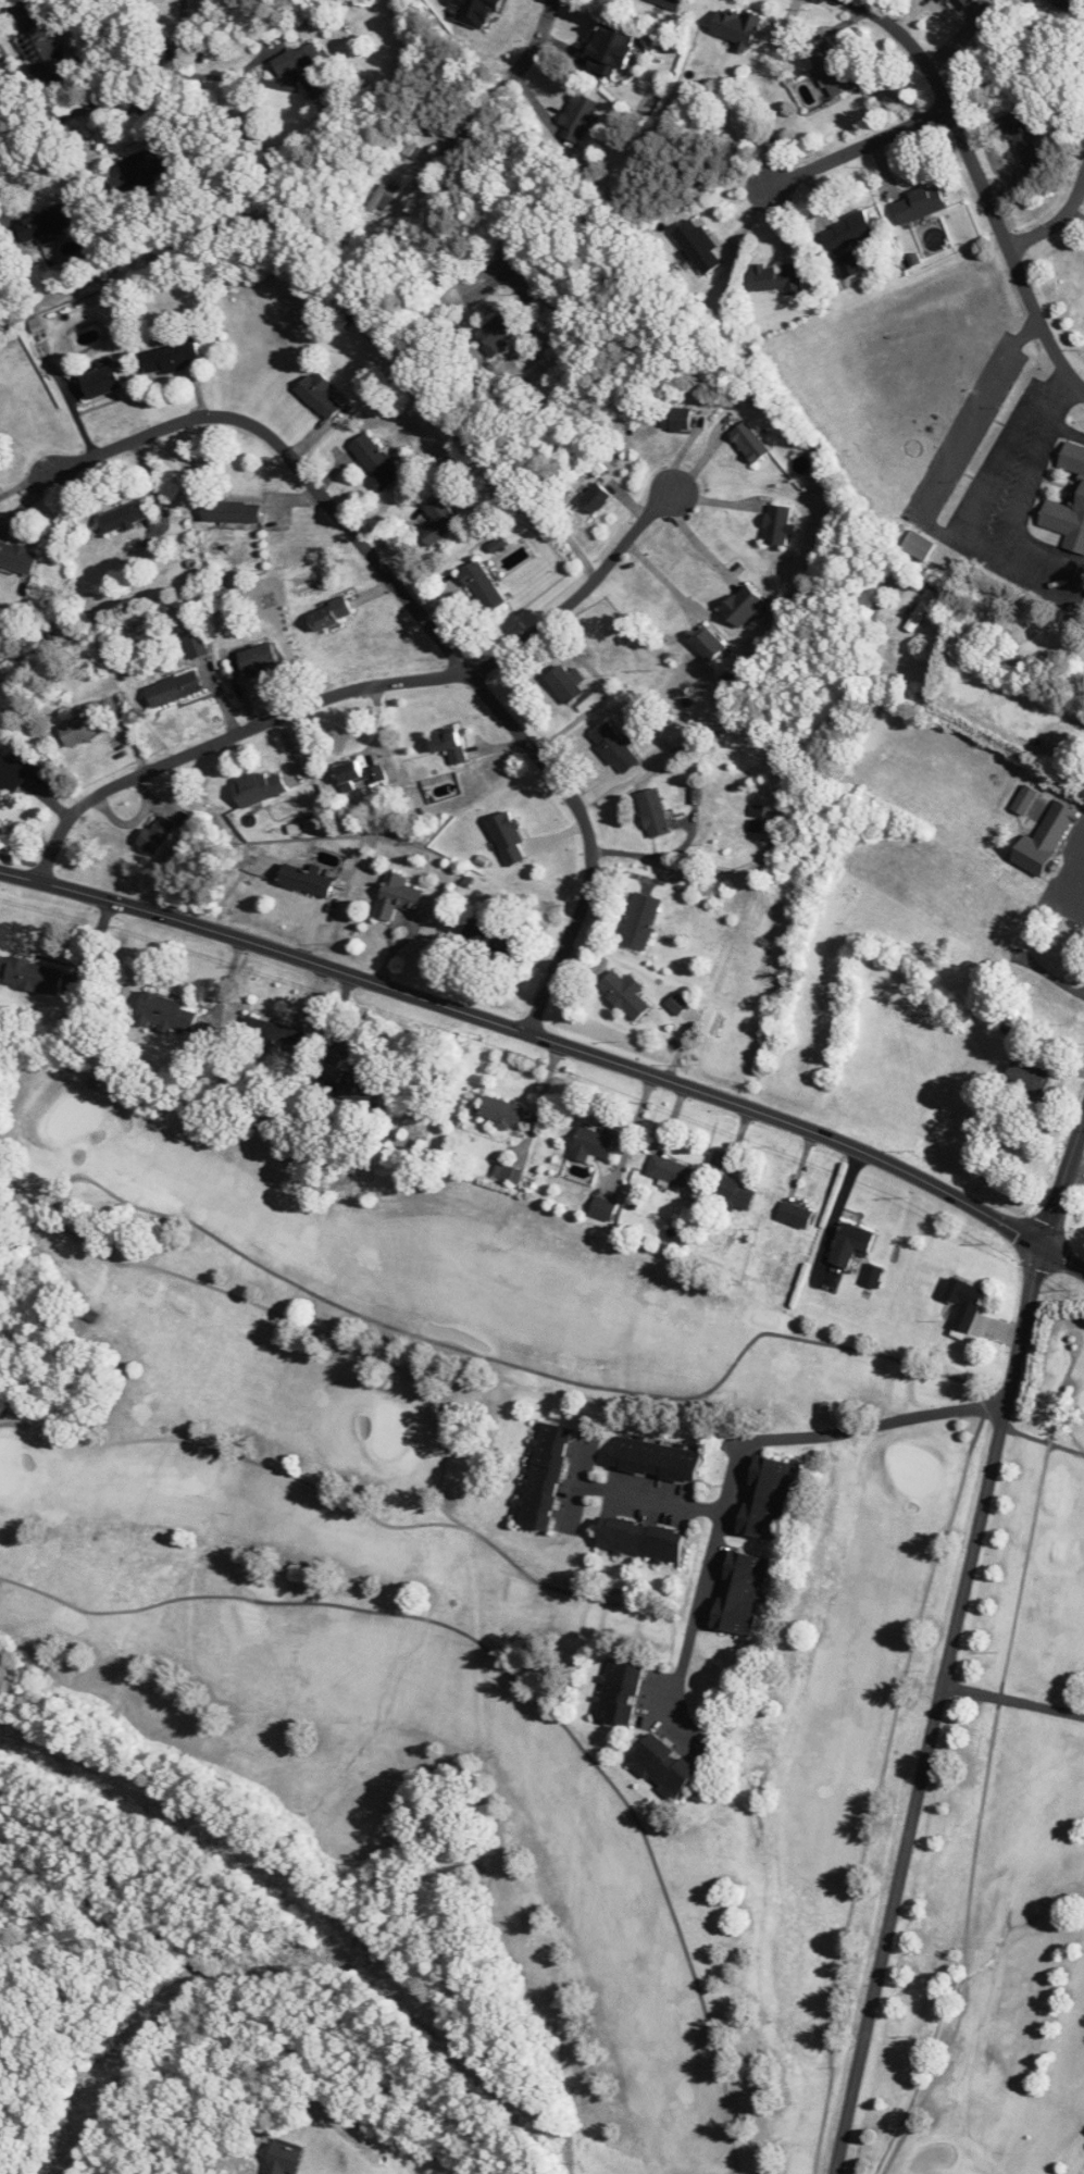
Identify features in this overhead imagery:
building: (668, 3)
building: (1070, 3)
building: (736, 28)
building: (37, 41)
road: (535, 47)
building: (609, 53)
road: (286, 62)
road: (153, 64)
building: (308, 69)
building: (831, 71)
road: (186, 76)
road: (267, 82)
building: (576, 116)
road: (45, 121)
road: (461, 129)
building: (1020, 133)
road: (857, 148)
building: (145, 163)
road: (981, 183)
building: (383, 196)
building: (919, 204)
road: (1055, 222)
building: (43, 223)
building: (847, 232)
building: (698, 245)
building: (848, 264)
building: (778, 277)
building: (495, 334)
building: (172, 358)
building: (100, 381)
building: (319, 395)
building: (676, 417)
road: (1063, 424)
building: (749, 440)
road: (956, 449)
building: (375, 460)
road: (543, 470)
road: (23, 485)
building: (1080, 485)
building: (595, 497)
road: (1008, 507)
building: (230, 510)
building: (122, 517)
building: (440, 519)
building: (776, 523)
road: (697, 541)
building: (918, 545)
building: (16, 557)
road: (661, 576)
building: (482, 586)
road: (580, 591)
building: (742, 606)
building: (329, 612)
building: (920, 612)
road: (425, 618)
building: (707, 642)
building: (194, 643)
building: (257, 656)
building: (564, 683)
building: (174, 688)
building: (84, 724)
road: (228, 738)
building: (448, 746)
building: (615, 747)
building: (10, 775)
building: (359, 775)
building: (1083, 777)
building: (259, 787)
building: (1024, 799)
building: (703, 800)
road: (799, 802)
building: (652, 811)
building: (1055, 824)
building: (157, 833)
building: (306, 879)
road: (1080, 894)
building: (400, 896)
building: (640, 920)
building: (1022, 923)
building: (486, 939)
building: (34, 976)
building: (625, 993)
building: (677, 1003)
building: (163, 1011)
building: (273, 1033)
road: (552, 1042)
building: (1027, 1078)
building: (361, 1089)
building: (502, 1113)
building: (593, 1144)
building: (669, 1170)
building: (508, 1172)
building: (734, 1192)
road: (834, 1207)
building: (602, 1208)
building: (795, 1214)
traffic signals: (1041, 1242)
building: (849, 1244)
building: (963, 1303)
building: (90, 1315)
road: (893, 1420)
building: (656, 1458)
building: (545, 1476)
road: (650, 1494)
building: (765, 1499)
building: (639, 1538)
road: (713, 1542)
building: (738, 1592)
park: (565, 1639)
road: (950, 1641)
building: (619, 1692)
road: (1012, 1699)
building: (662, 1767)
building: (284, 2158)

